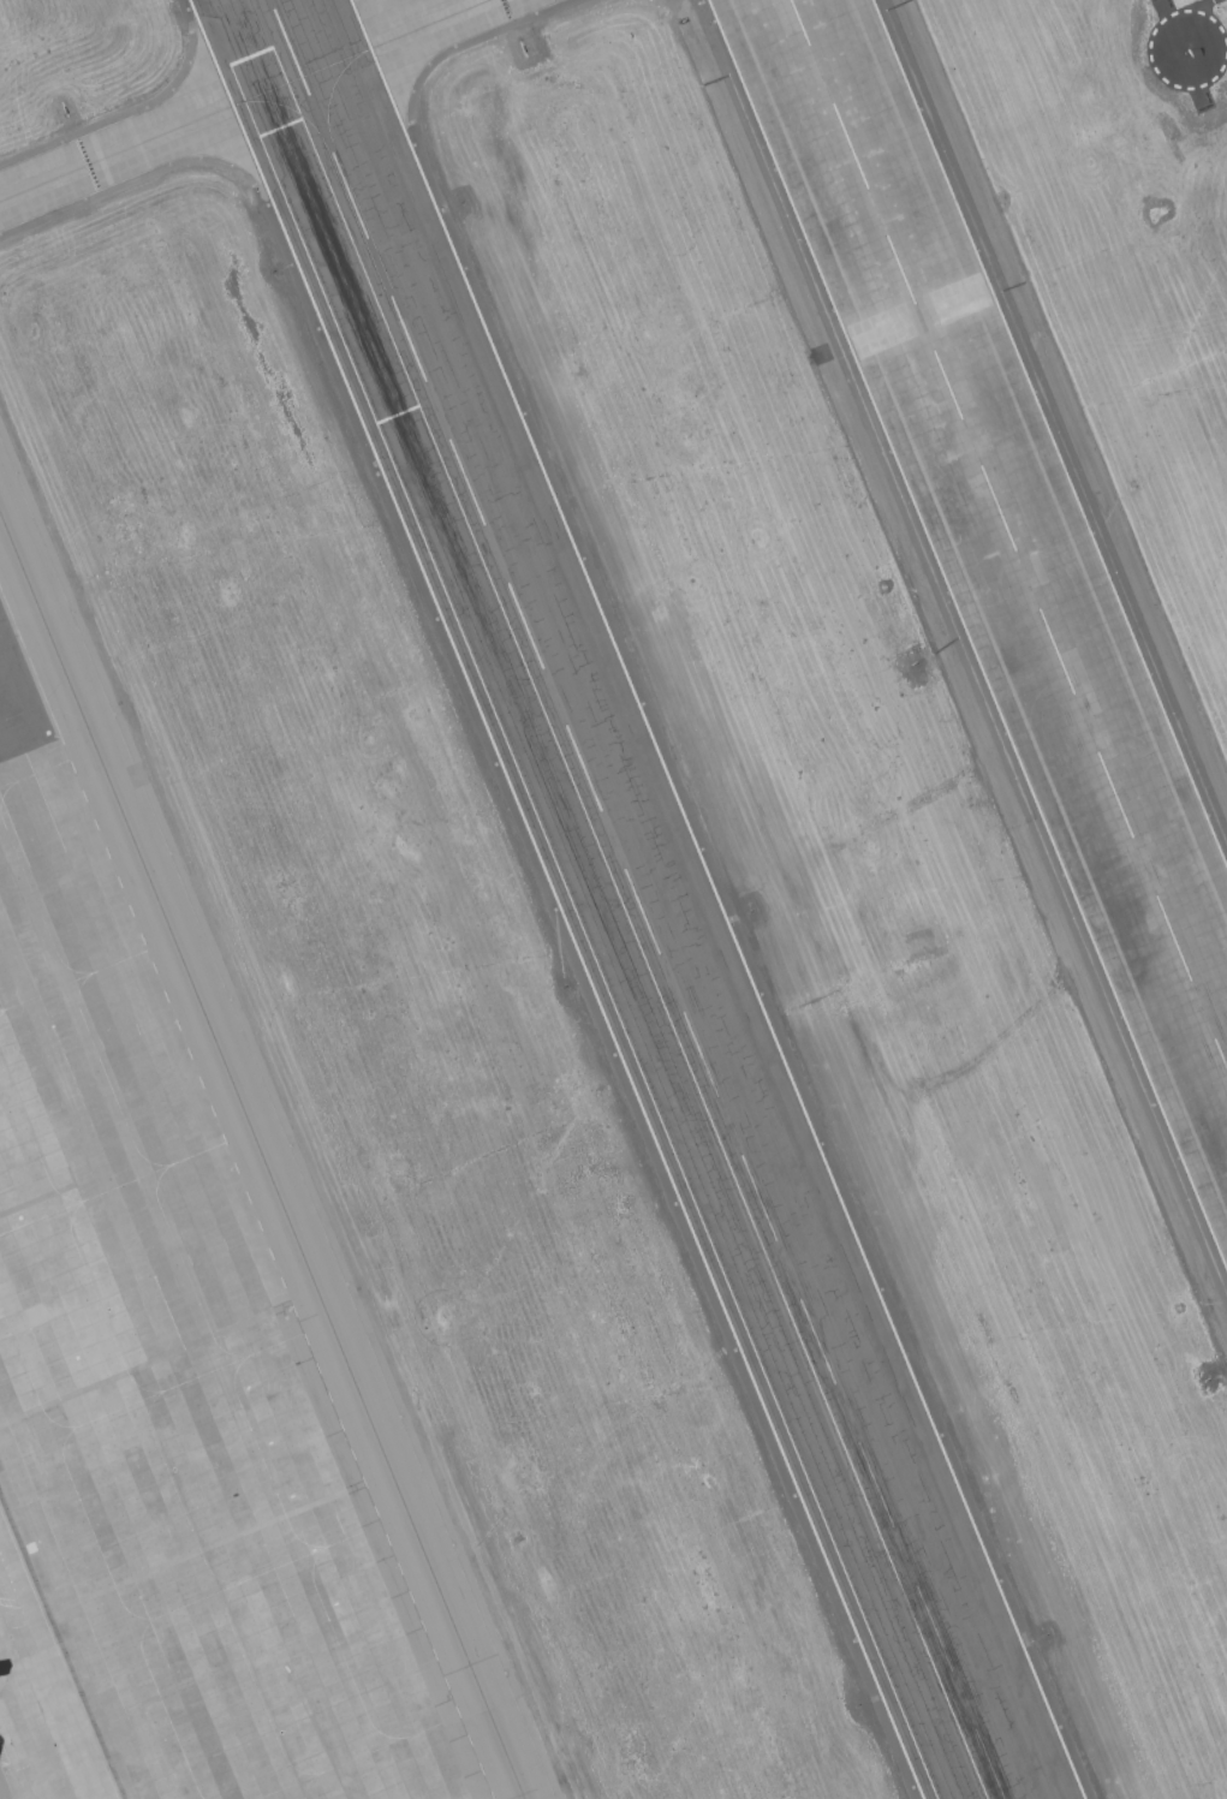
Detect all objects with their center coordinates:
airport taxiway: (246, 101)
airport runway: (1008, 534)
airport: (613, 899)
airport runway: (639, 899)
airport taxiway: (262, 1154)
airport apron: (161, 1410)

